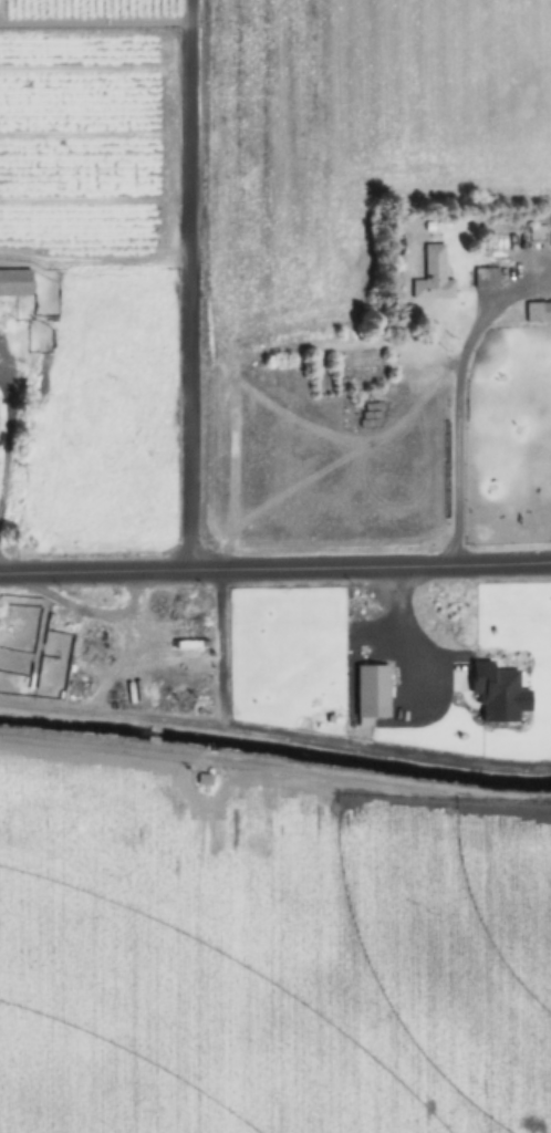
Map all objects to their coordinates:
building: (518, 243)
building: (435, 262)
building: (487, 277)
building: (15, 281)
building: (538, 313)
road: (275, 570)

